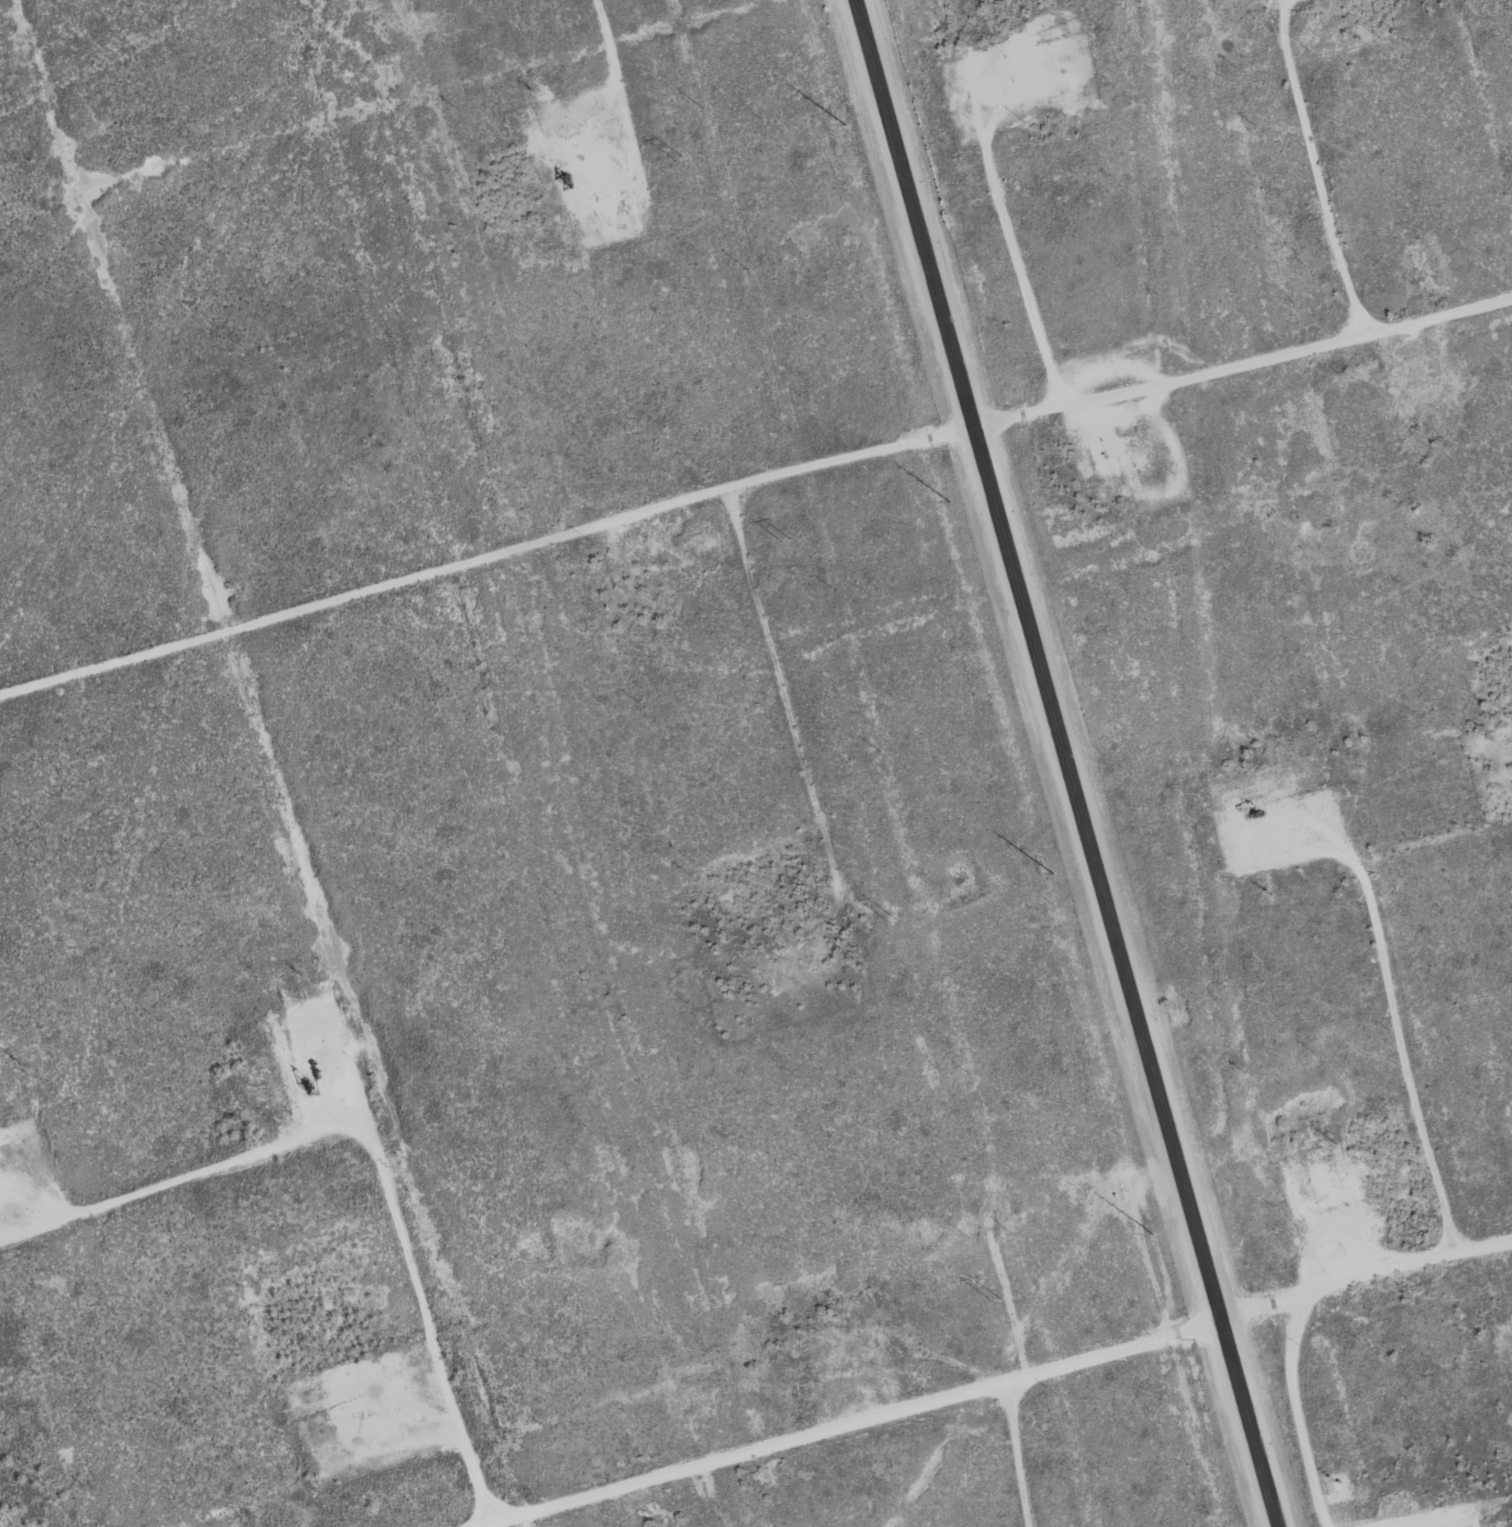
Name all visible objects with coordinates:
power tower: (681, 157)
road: (754, 488)
power tower: (787, 539)
road: (1066, 763)
petroleum well: (1260, 809)
power tower: (892, 917)
power tower: (997, 1298)
road: (988, 1379)

